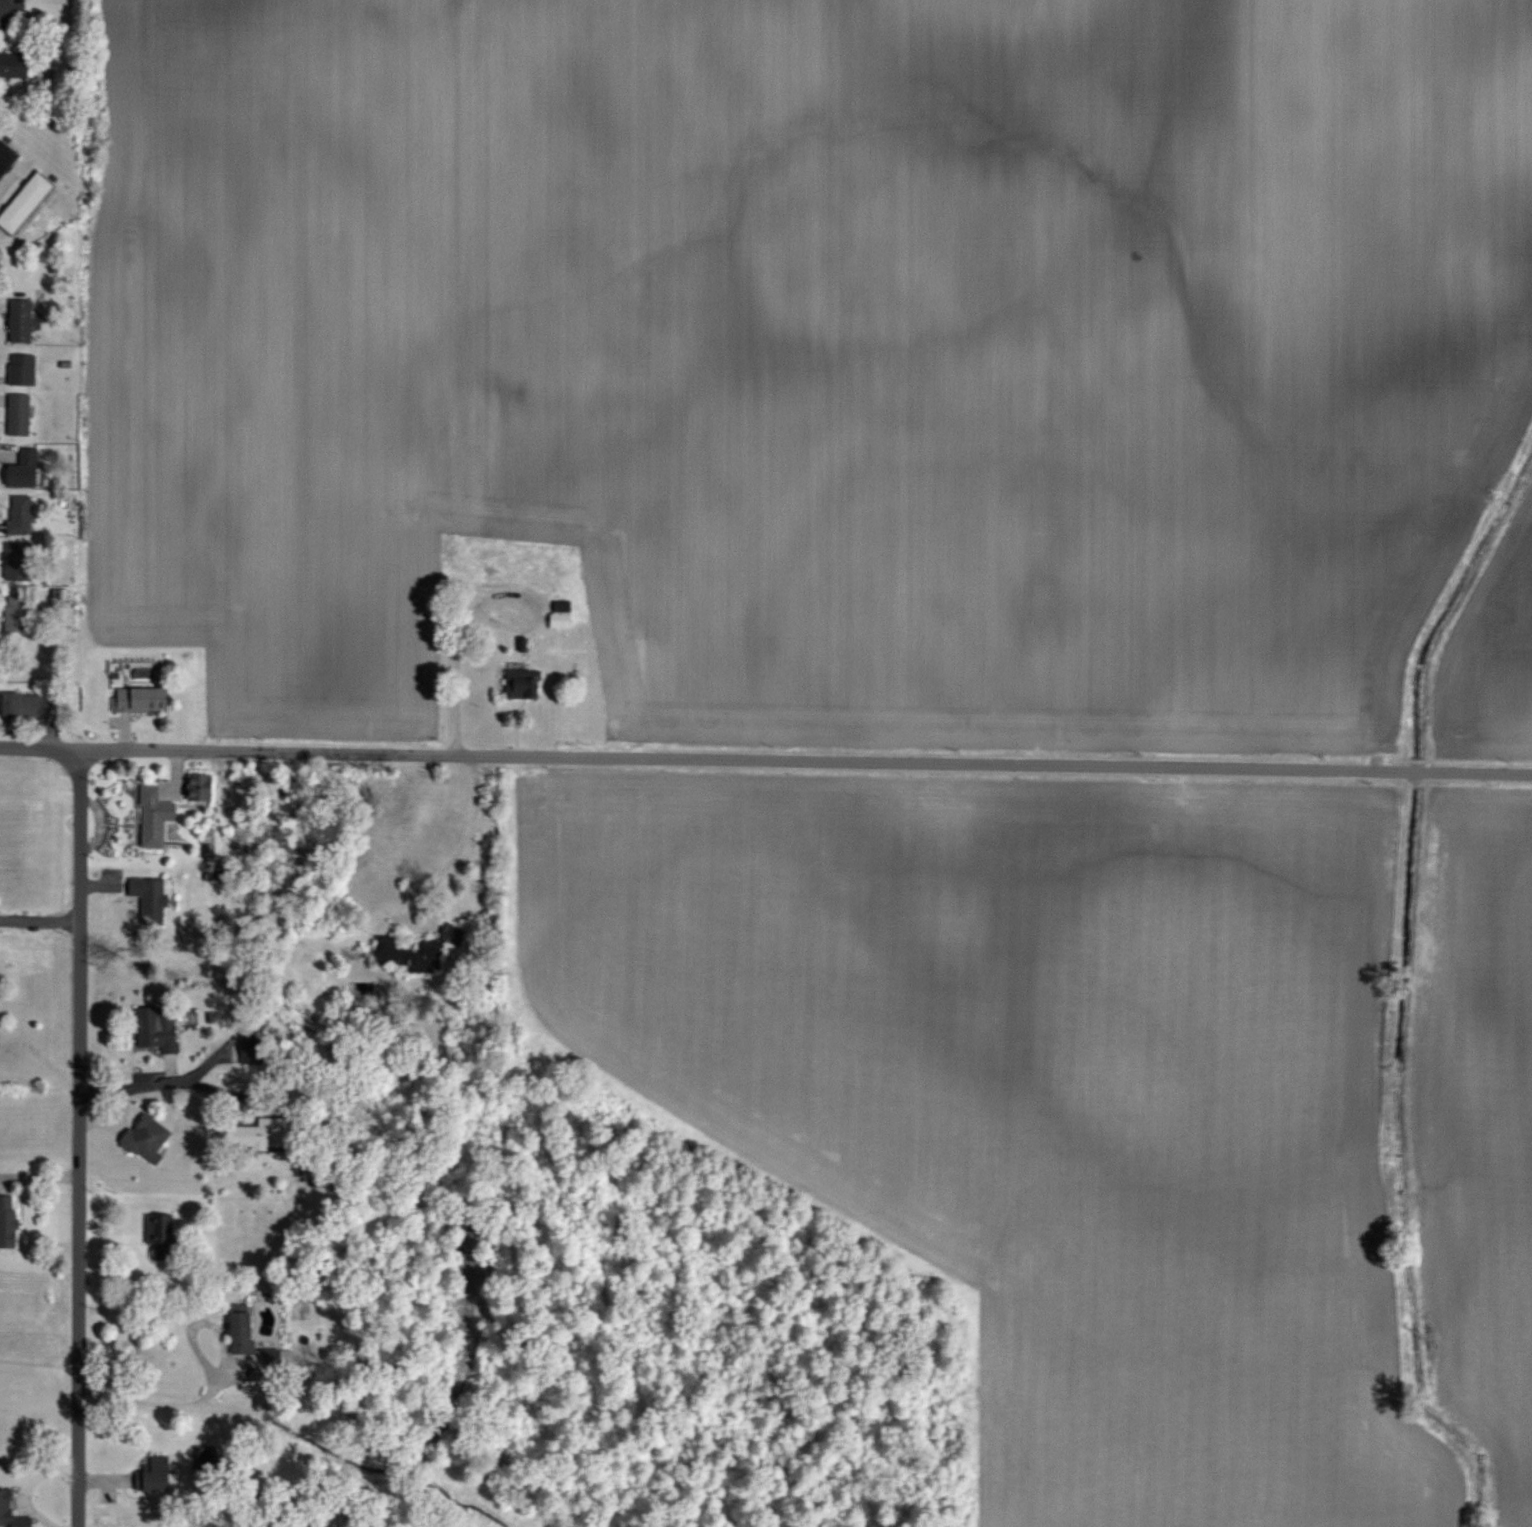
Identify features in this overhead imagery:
road: (6, 1)
building: (20, 64)
building: (7, 157)
building: (27, 202)
building: (23, 320)
building: (24, 368)
building: (21, 413)
building: (29, 468)
building: (22, 514)
building: (20, 562)
road: (492, 596)
building: (18, 610)
building: (563, 620)
road: (451, 683)
building: (524, 683)
building: (147, 699)
building: (31, 703)
road: (270, 750)
road: (1035, 768)
building: (157, 812)
road: (462, 840)
building: (152, 896)
road: (40, 918)
road: (402, 927)
building: (393, 952)
building: (158, 1027)
road: (159, 1084)
road: (77, 1136)
building: (10, 1221)
road: (126, 1278)
building: (244, 1328)
road: (162, 1405)
building: (8, 1508)

